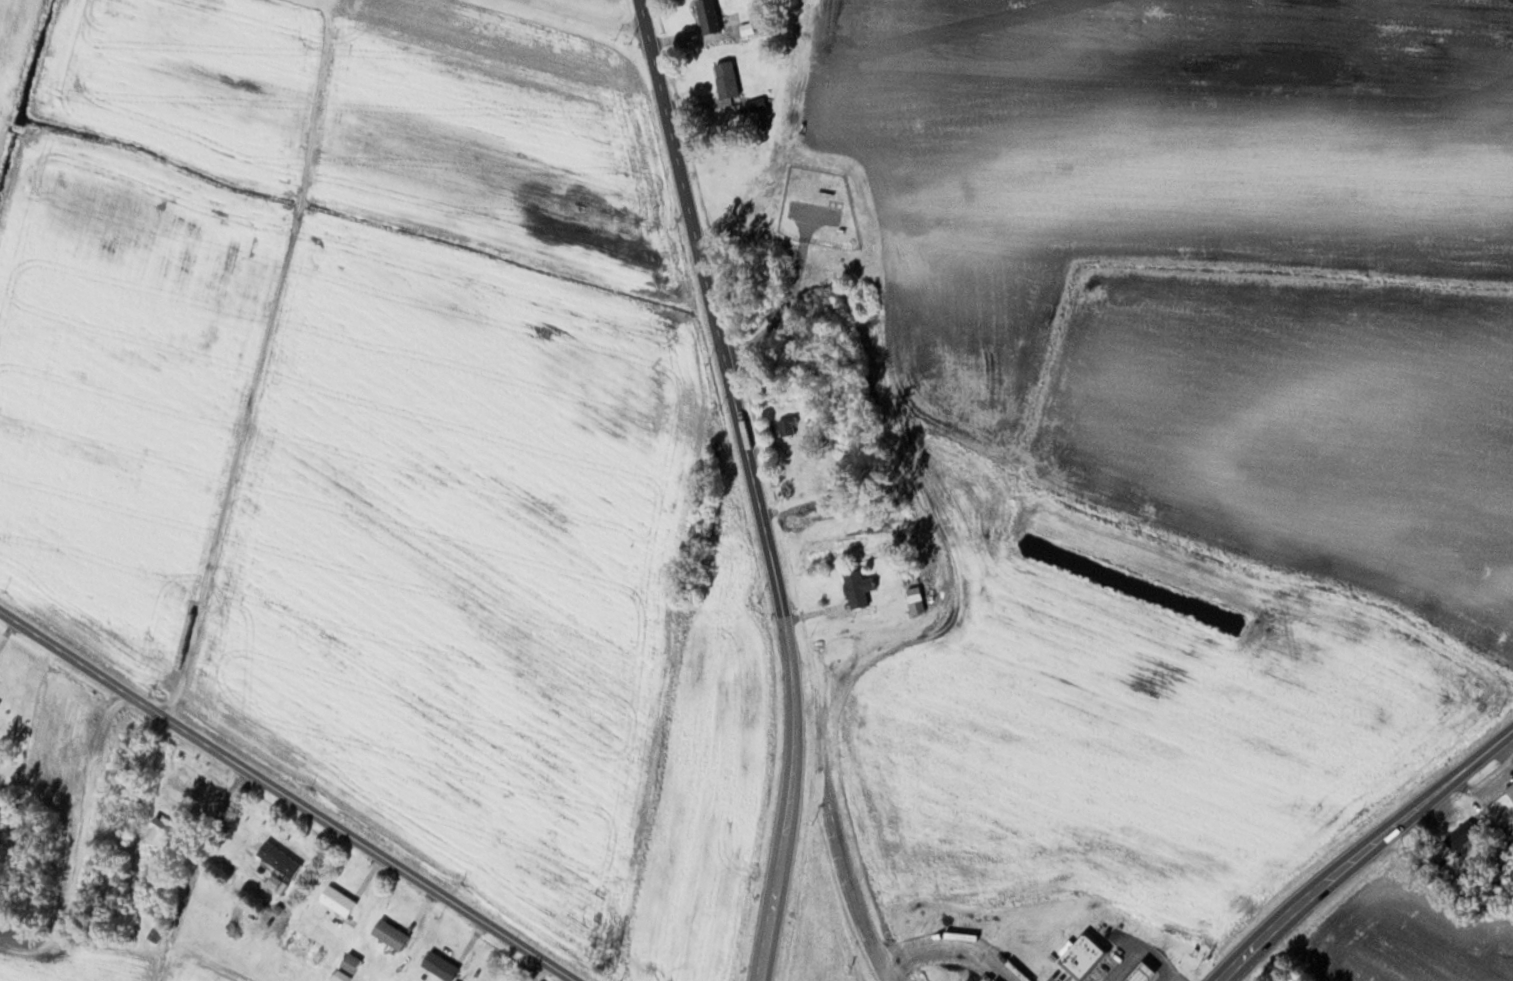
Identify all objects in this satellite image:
building: (706, 16)
building: (724, 79)
building: (785, 426)
road: (756, 486)
building: (855, 588)
building: (914, 597)
building: (1509, 789)
road: (288, 795)
building: (1459, 834)
road: (1362, 848)
building: (276, 858)
road: (855, 893)
building: (334, 899)
building: (387, 933)
building: (300, 943)
road: (952, 944)
road: (1139, 950)
building: (1082, 953)
building: (317, 954)
building: (348, 961)
building: (437, 965)
building: (1142, 972)
road: (1169, 979)

